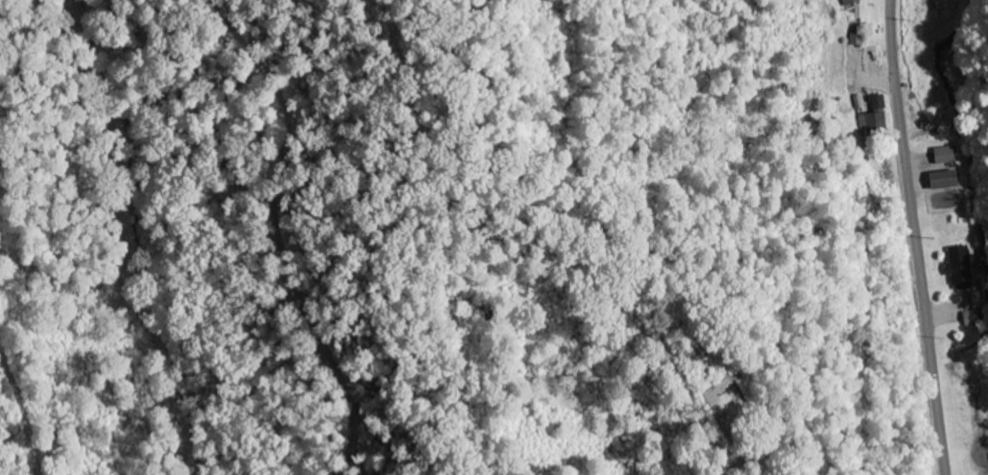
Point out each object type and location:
building: (851, 3)
building: (861, 103)
building: (877, 115)
building: (948, 157)
building: (949, 182)
road: (915, 237)
building: (963, 268)
building: (978, 300)
building: (974, 319)

